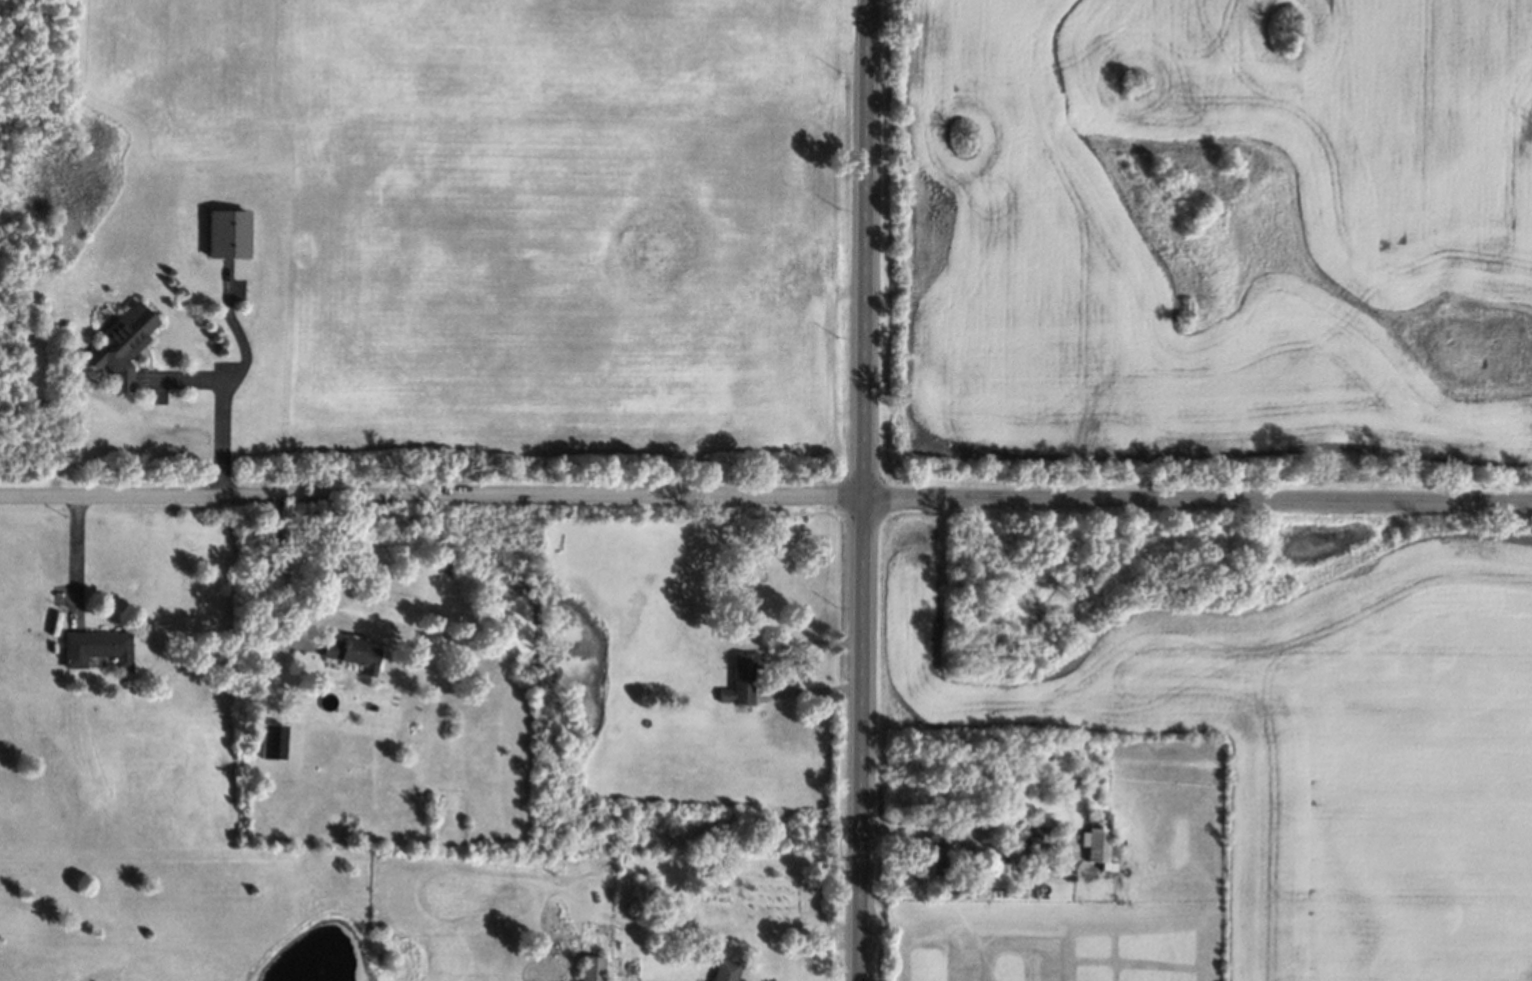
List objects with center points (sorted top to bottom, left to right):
crop: (517, 207)
crop: (1223, 226)
building: (228, 235)
building: (122, 346)
road: (222, 404)
road: (862, 490)
road: (766, 495)
road: (76, 556)
building: (97, 648)
building: (353, 653)
road: (779, 668)
building: (741, 680)
building: (273, 741)
crop: (1314, 746)
building: (1098, 841)
building: (936, 858)
building: (591, 968)
building: (725, 971)

